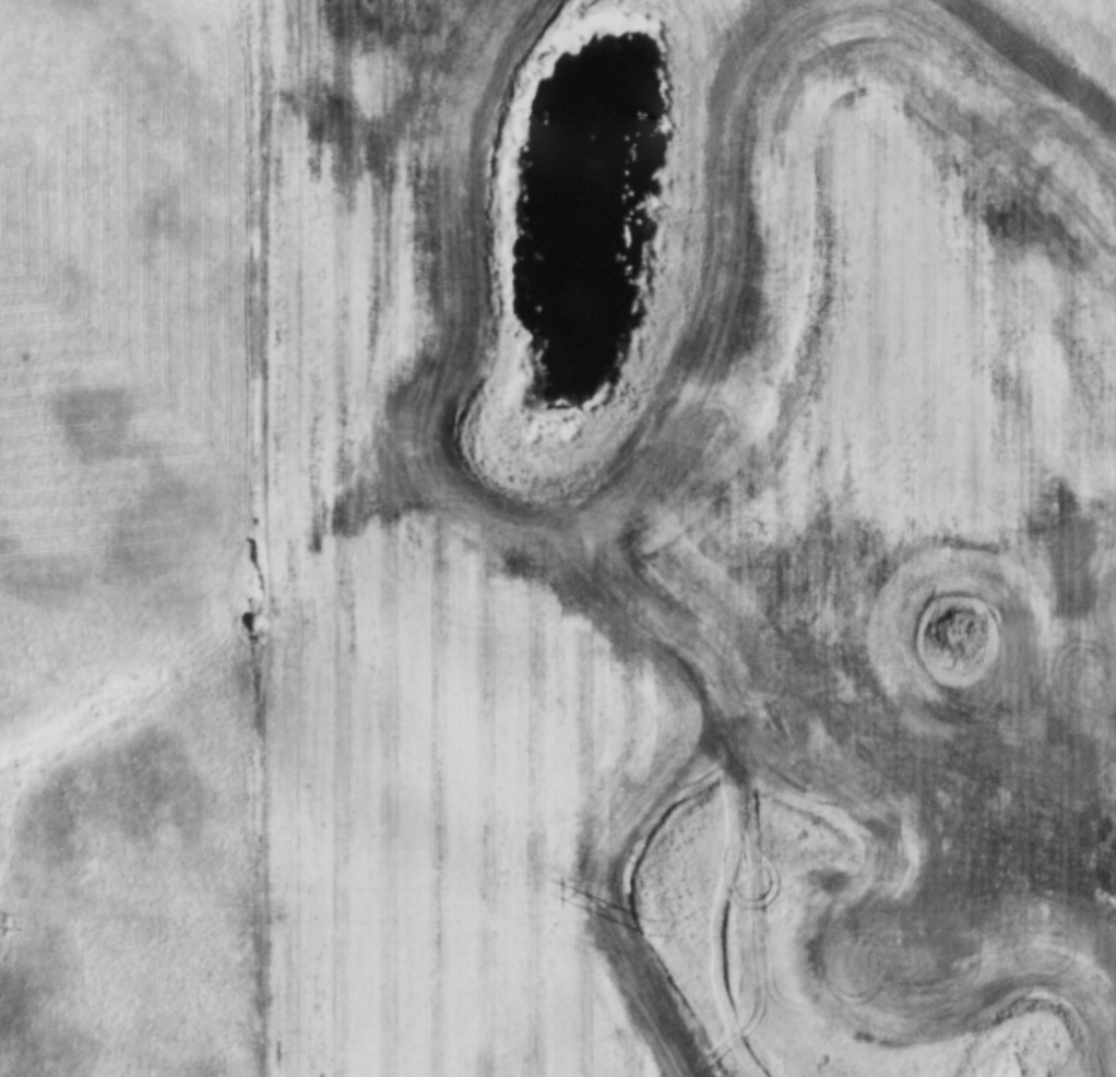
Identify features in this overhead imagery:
road: (258, 538)
power tower: (5, 922)
power tower: (644, 925)

